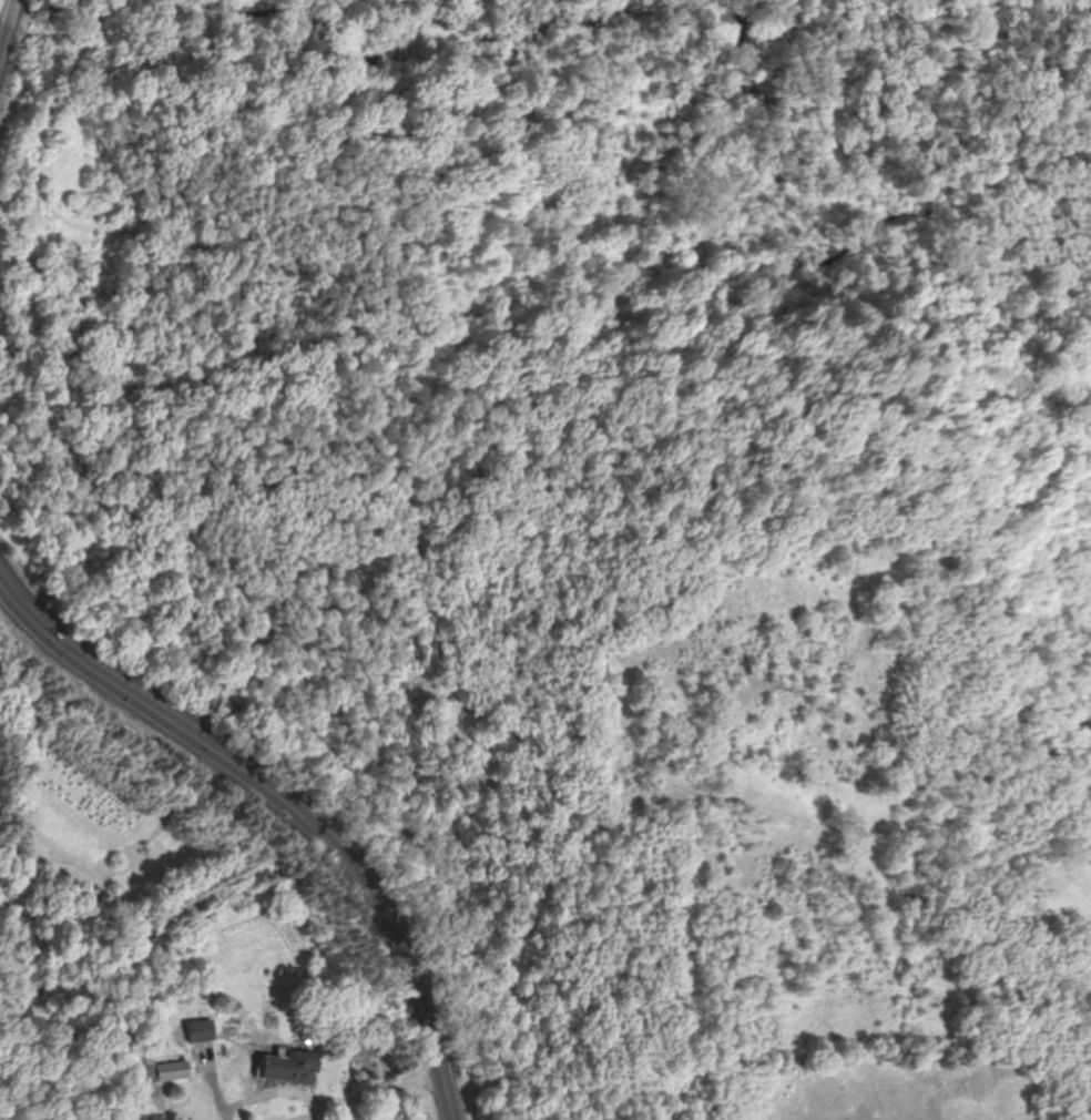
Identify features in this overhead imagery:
road: (3, 13)
road: (1058, 58)
road: (1090, 115)
road: (915, 180)
park: (598, 507)
road: (410, 597)
road: (287, 803)
building: (201, 1029)
building: (290, 1065)
building: (154, 1069)
road: (294, 1090)
road: (387, 1092)

